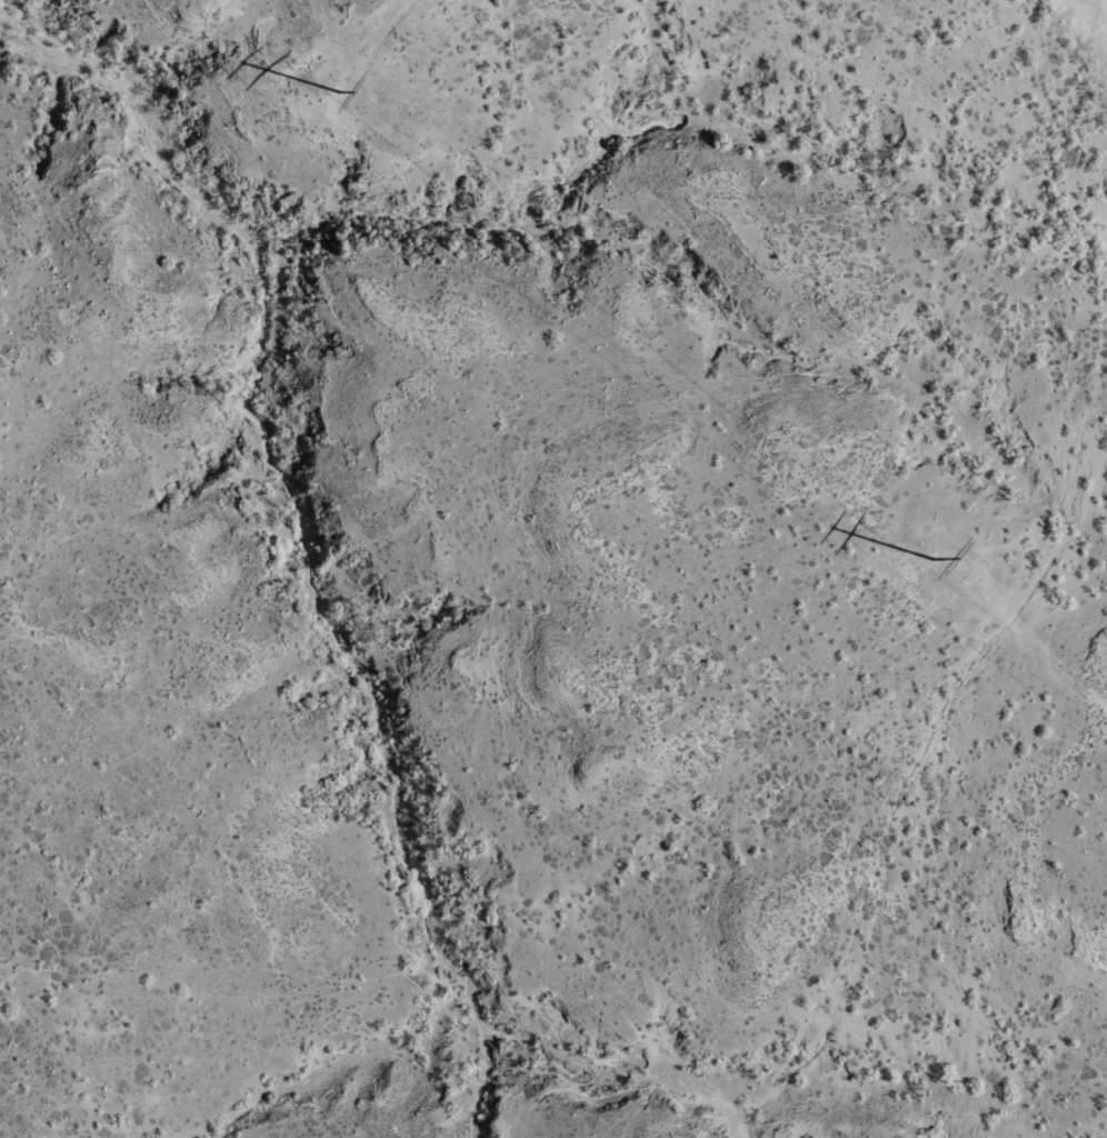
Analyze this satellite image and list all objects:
power tower: (339, 91)
power tower: (934, 558)

